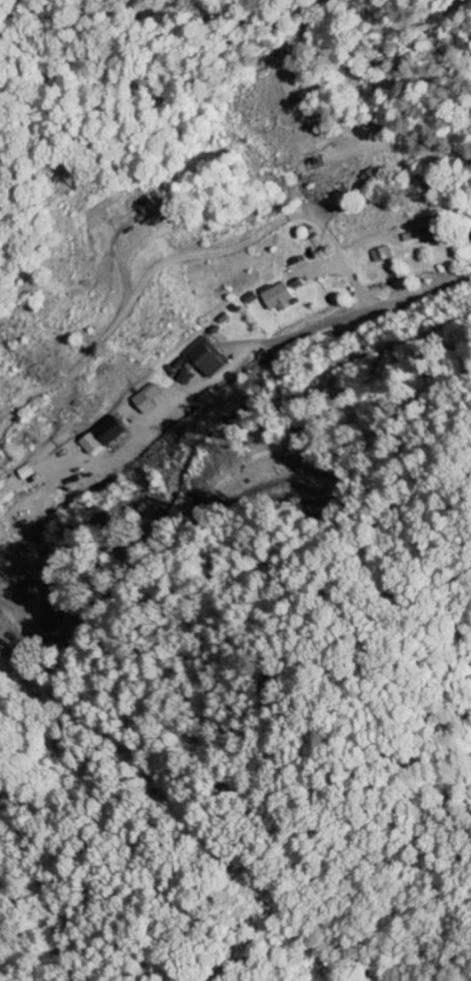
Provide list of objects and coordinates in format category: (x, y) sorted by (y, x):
building: (421, 235)
building: (380, 254)
building: (278, 296)
road: (390, 299)
building: (197, 361)
building: (146, 399)
building: (109, 431)
building: (90, 444)

